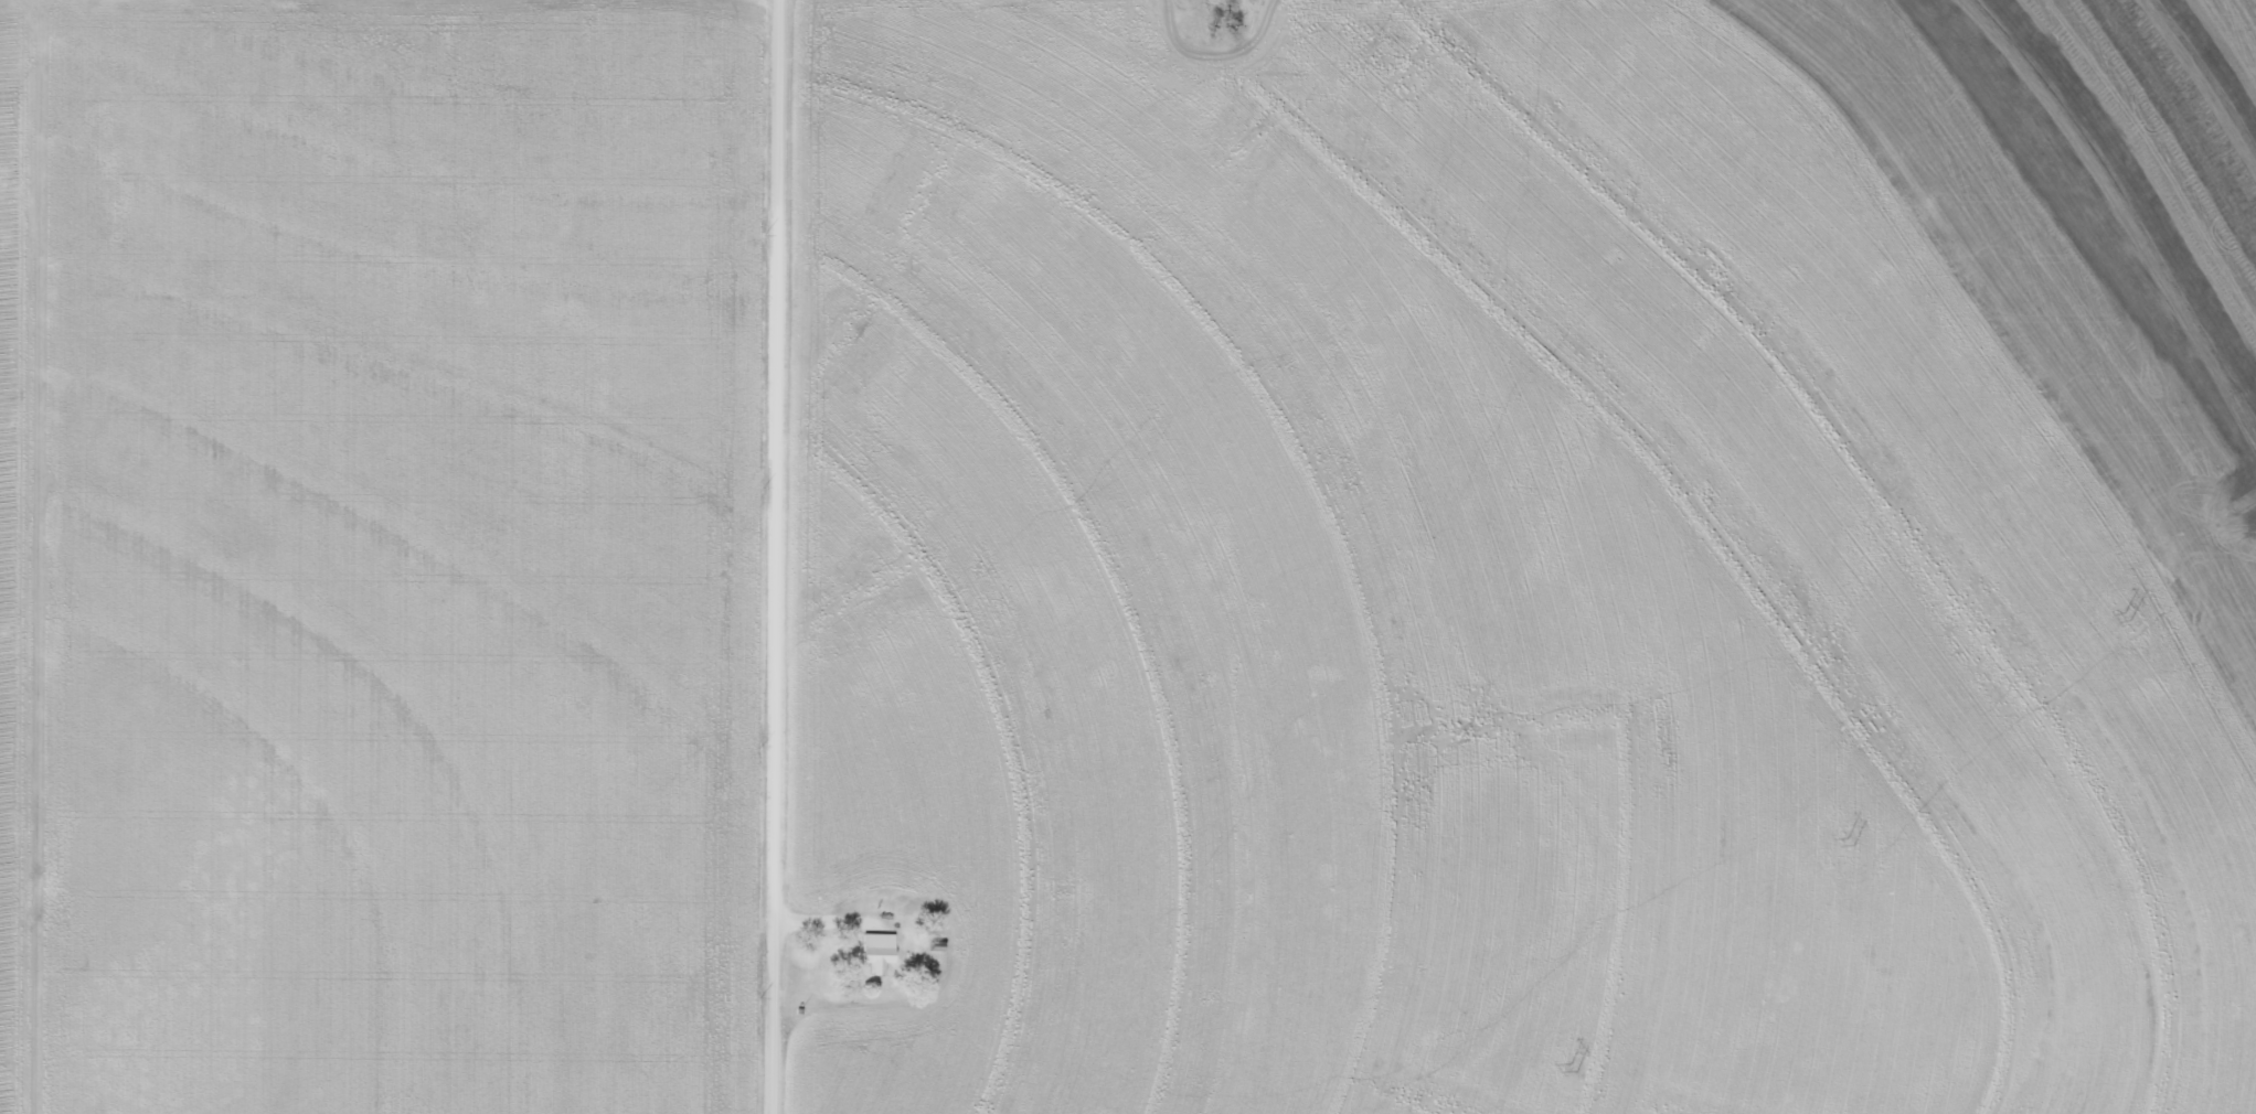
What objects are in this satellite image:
road: (799, 557)
power tower: (2132, 611)
power tower: (1848, 840)
building: (876, 952)
power tower: (1569, 1064)

